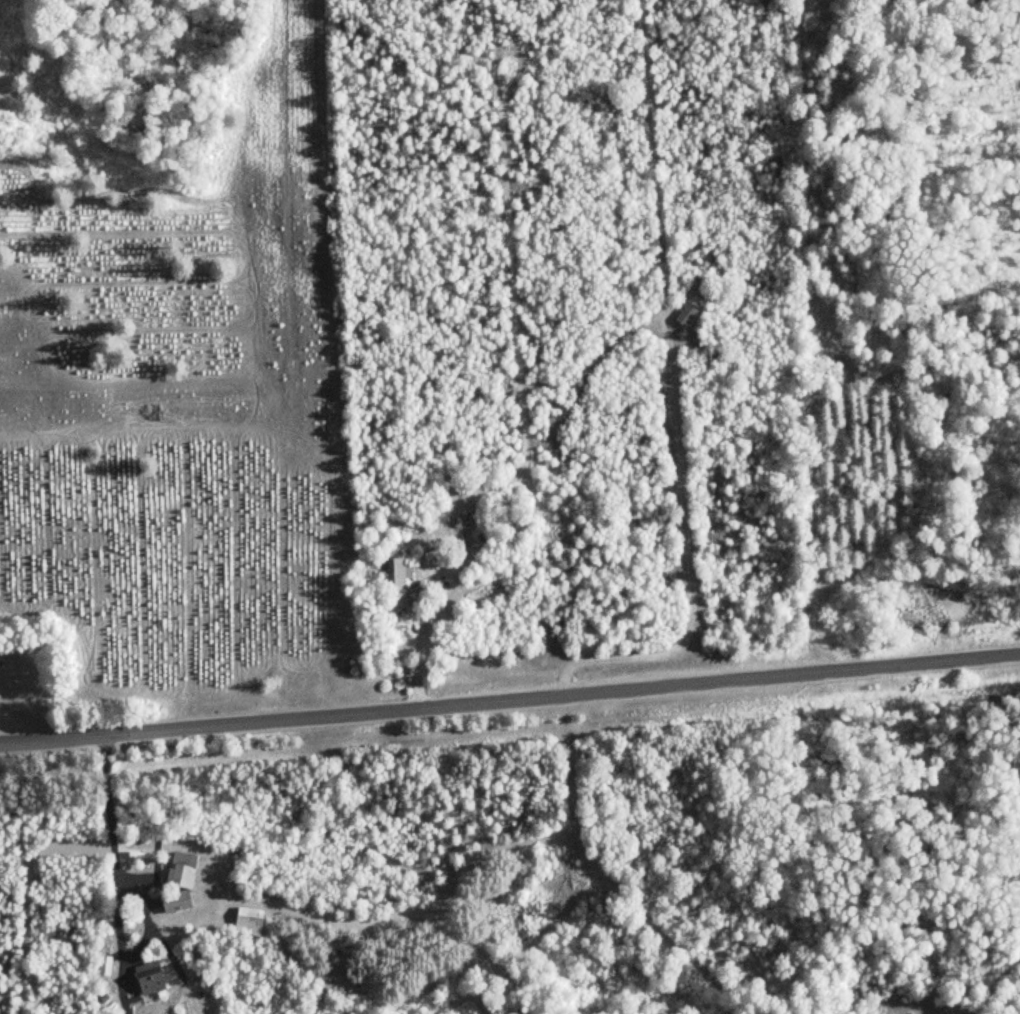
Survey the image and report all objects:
building: (681, 313)
building: (395, 582)
road: (510, 696)
building: (176, 883)
building: (245, 922)
building: (145, 980)

